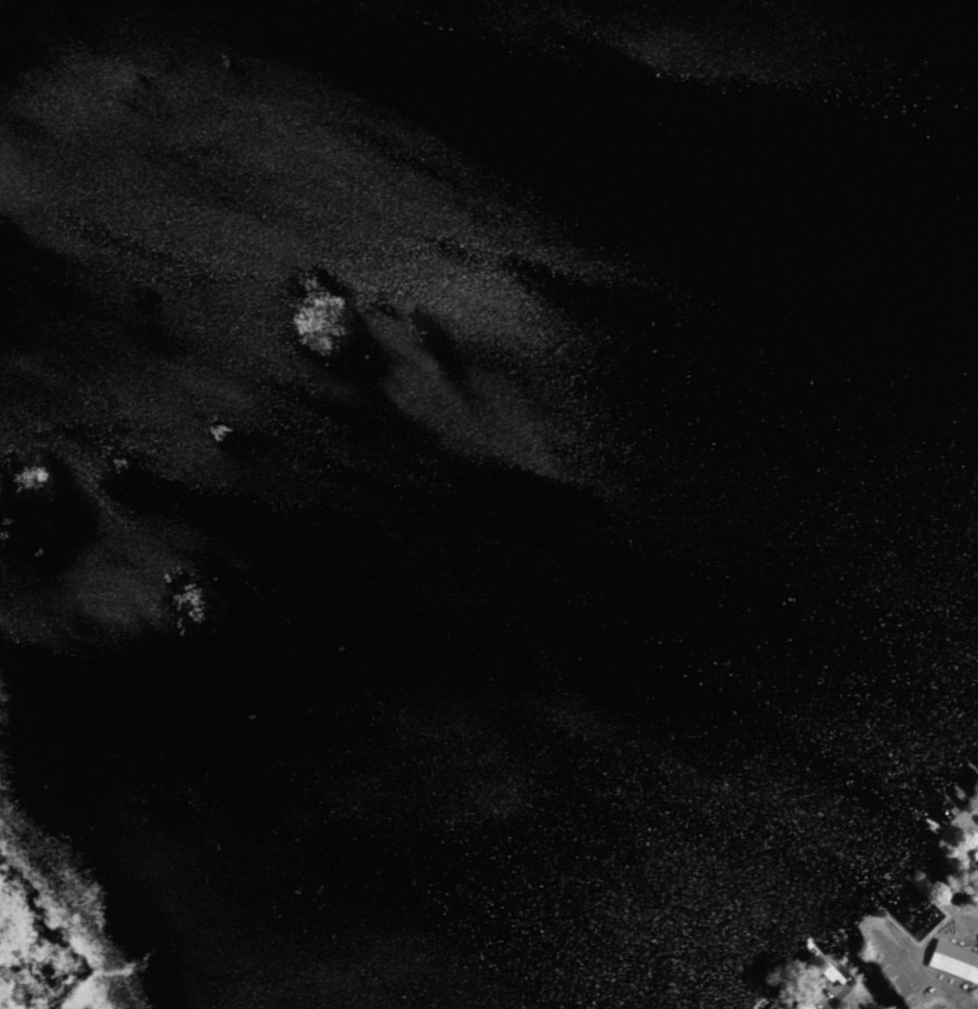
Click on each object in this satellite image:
building: (648, 177)
building: (537, 760)
building: (709, 887)
building: (951, 962)
road: (835, 997)

